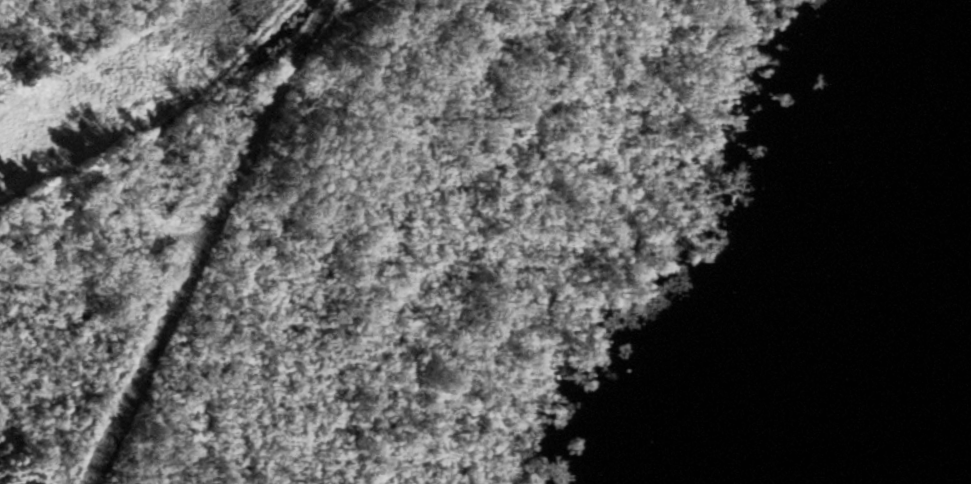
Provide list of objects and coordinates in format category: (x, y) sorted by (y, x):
power tower: (244, 22)
railway: (208, 240)

